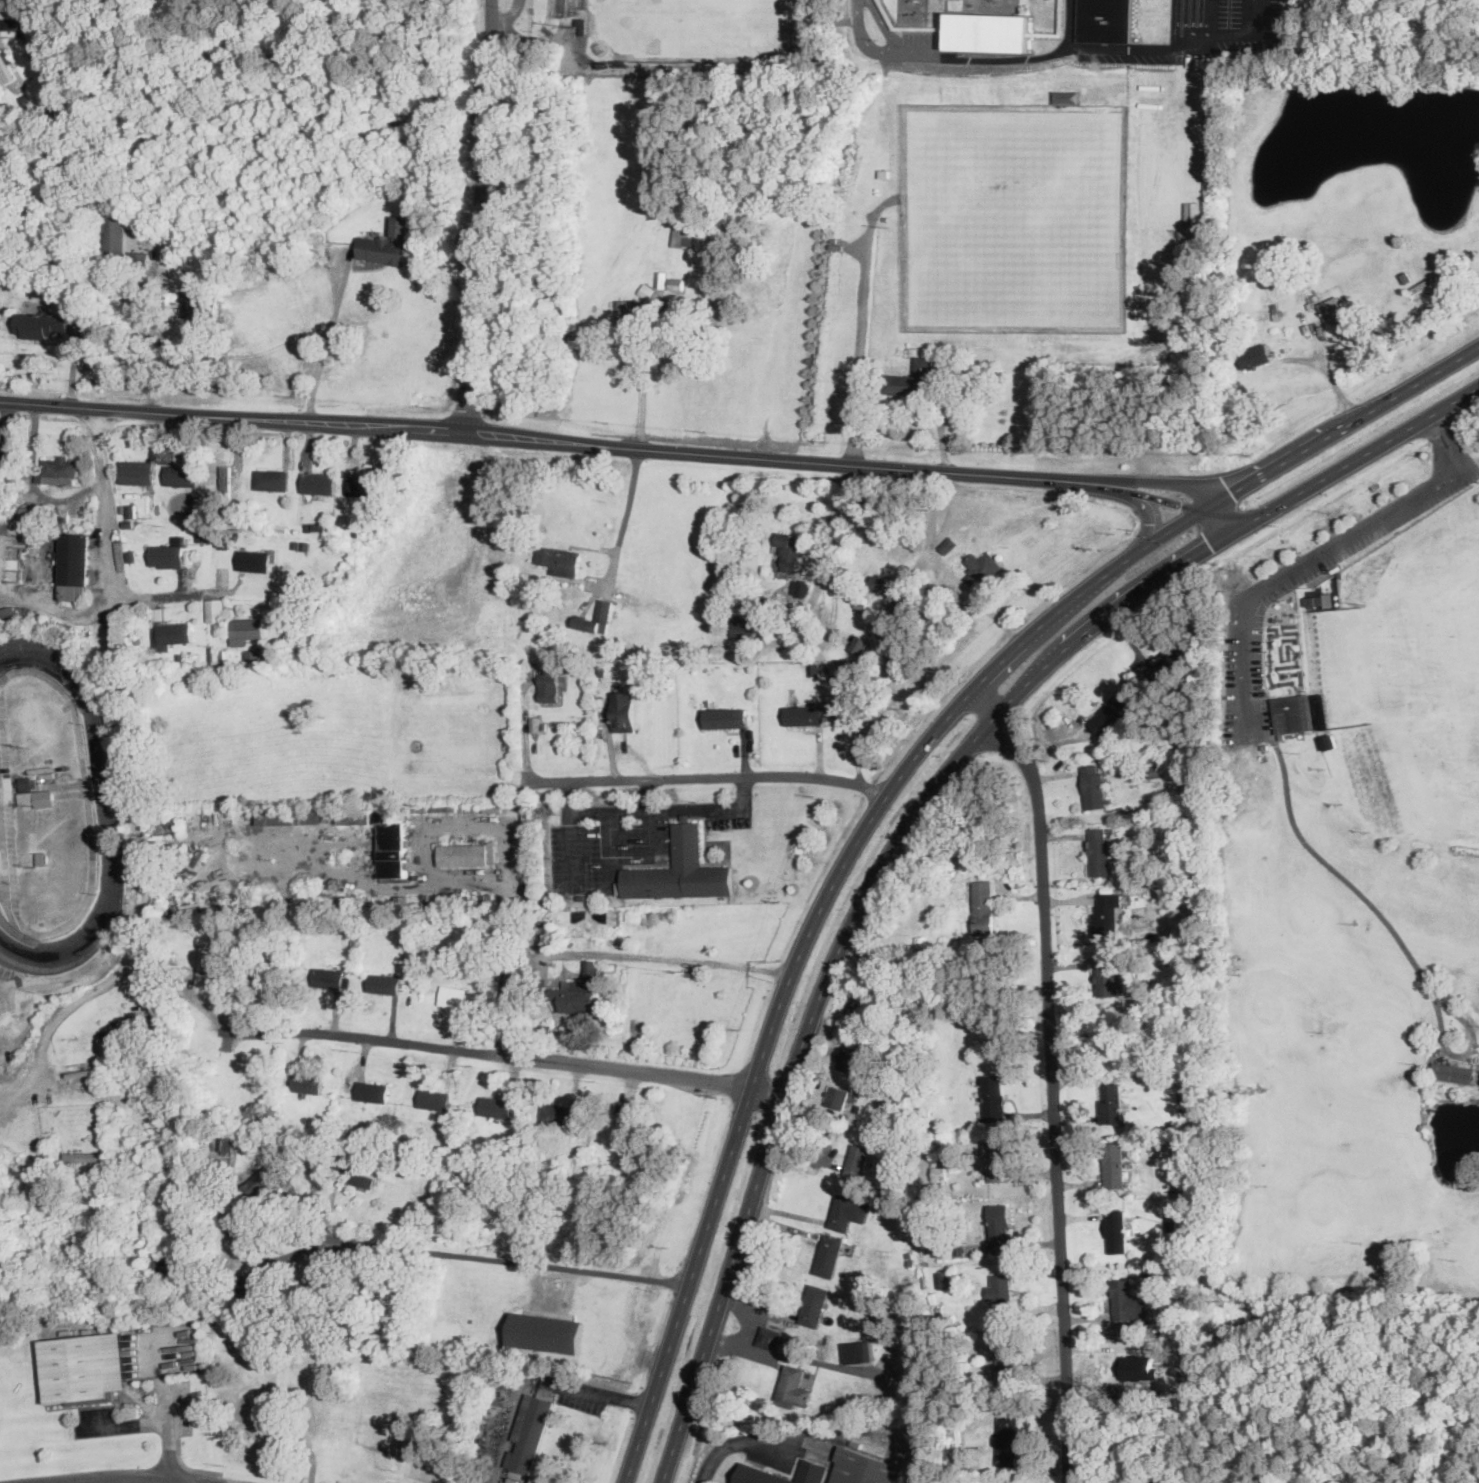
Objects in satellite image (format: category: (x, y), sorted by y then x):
road: (506, 15)
building: (1105, 20)
road: (1069, 24)
road: (26, 29)
building: (986, 32)
road: (1233, 34)
road: (881, 50)
road: (1050, 52)
building: (7, 67)
road: (478, 216)
building: (683, 237)
building: (121, 240)
building: (387, 243)
building: (676, 283)
building: (1425, 285)
building: (199, 306)
building: (1336, 307)
building: (632, 312)
building: (42, 324)
road: (861, 325)
road: (145, 326)
road: (327, 339)
building: (1255, 354)
road: (223, 356)
road: (1435, 371)
road: (1331, 376)
road: (645, 377)
building: (910, 378)
road: (155, 411)
building: (0, 434)
road: (1445, 442)
road: (708, 451)
road: (1300, 451)
building: (0, 454)
road: (1354, 459)
road: (1469, 466)
building: (59, 470)
building: (138, 471)
building: (180, 474)
building: (272, 478)
building: (318, 481)
road: (1163, 481)
building: (365, 485)
road: (1126, 489)
traffic signals: (1233, 492)
road: (1178, 503)
traffic signals: (1182, 504)
road: (625, 519)
road: (1220, 519)
road: (1151, 522)
road: (1165, 533)
road: (930, 534)
building: (223, 539)
building: (948, 544)
road: (818, 545)
traffic signals: (1211, 545)
building: (789, 551)
building: (169, 553)
building: (73, 559)
building: (254, 559)
building: (560, 559)
building: (982, 568)
road: (1291, 569)
building: (882, 583)
building: (800, 587)
road: (169, 595)
building: (1316, 601)
road: (56, 605)
road: (1117, 605)
building: (215, 609)
building: (596, 617)
road: (1042, 623)
building: (744, 626)
building: (246, 629)
building: (172, 634)
building: (252, 654)
building: (1170, 665)
building: (841, 669)
building: (549, 686)
building: (623, 711)
building: (1113, 711)
building: (807, 714)
building: (1291, 714)
building: (725, 717)
road: (525, 738)
building: (43, 770)
road: (136, 781)
road: (702, 781)
building: (26, 782)
building: (1094, 784)
building: (37, 796)
road: (657, 810)
raceway: (108, 813)
building: (291, 816)
road: (650, 821)
road: (88, 836)
building: (384, 839)
road: (509, 843)
road: (571, 847)
building: (1099, 850)
road: (609, 851)
building: (463, 854)
building: (679, 870)
building: (399, 903)
road: (4, 905)
building: (983, 906)
building: (1107, 914)
road: (677, 959)
building: (204, 963)
building: (1110, 974)
building: (327, 979)
building: (384, 984)
building: (580, 994)
building: (453, 997)
building: (865, 1012)
road: (504, 1054)
building: (849, 1061)
road: (795, 1066)
road: (759, 1068)
building: (1454, 1070)
road: (1053, 1076)
building: (307, 1084)
building: (372, 1092)
building: (838, 1097)
building: (994, 1097)
building: (433, 1100)
road: (7, 1101)
building: (1111, 1101)
building: (496, 1107)
building: (558, 1115)
building: (640, 1128)
building: (228, 1143)
building: (87, 1156)
building: (998, 1159)
building: (857, 1162)
building: (1114, 1162)
building: (350, 1174)
building: (260, 1183)
building: (847, 1212)
building: (999, 1229)
building: (1117, 1230)
building: (944, 1248)
building: (829, 1257)
road: (505, 1259)
building: (162, 1264)
building: (946, 1279)
building: (1001, 1291)
building: (254, 1292)
building: (1127, 1300)
building: (814, 1306)
building: (544, 1333)
building: (769, 1336)
road: (728, 1346)
building: (859, 1351)
road: (782, 1355)
building: (1006, 1360)
building: (1139, 1367)
building: (910, 1368)
building: (81, 1369)
building: (794, 1387)
road: (599, 1391)
road: (160, 1419)
road: (512, 1420)
building: (529, 1432)
building: (1007, 1439)
road: (734, 1441)
building: (864, 1467)
building: (758, 1472)
road: (127, 1479)

